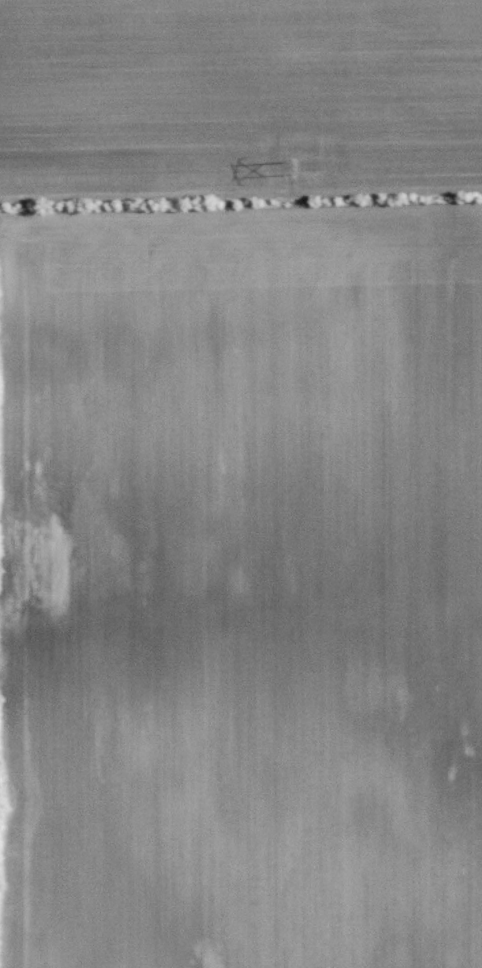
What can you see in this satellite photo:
power tower: (292, 166)

